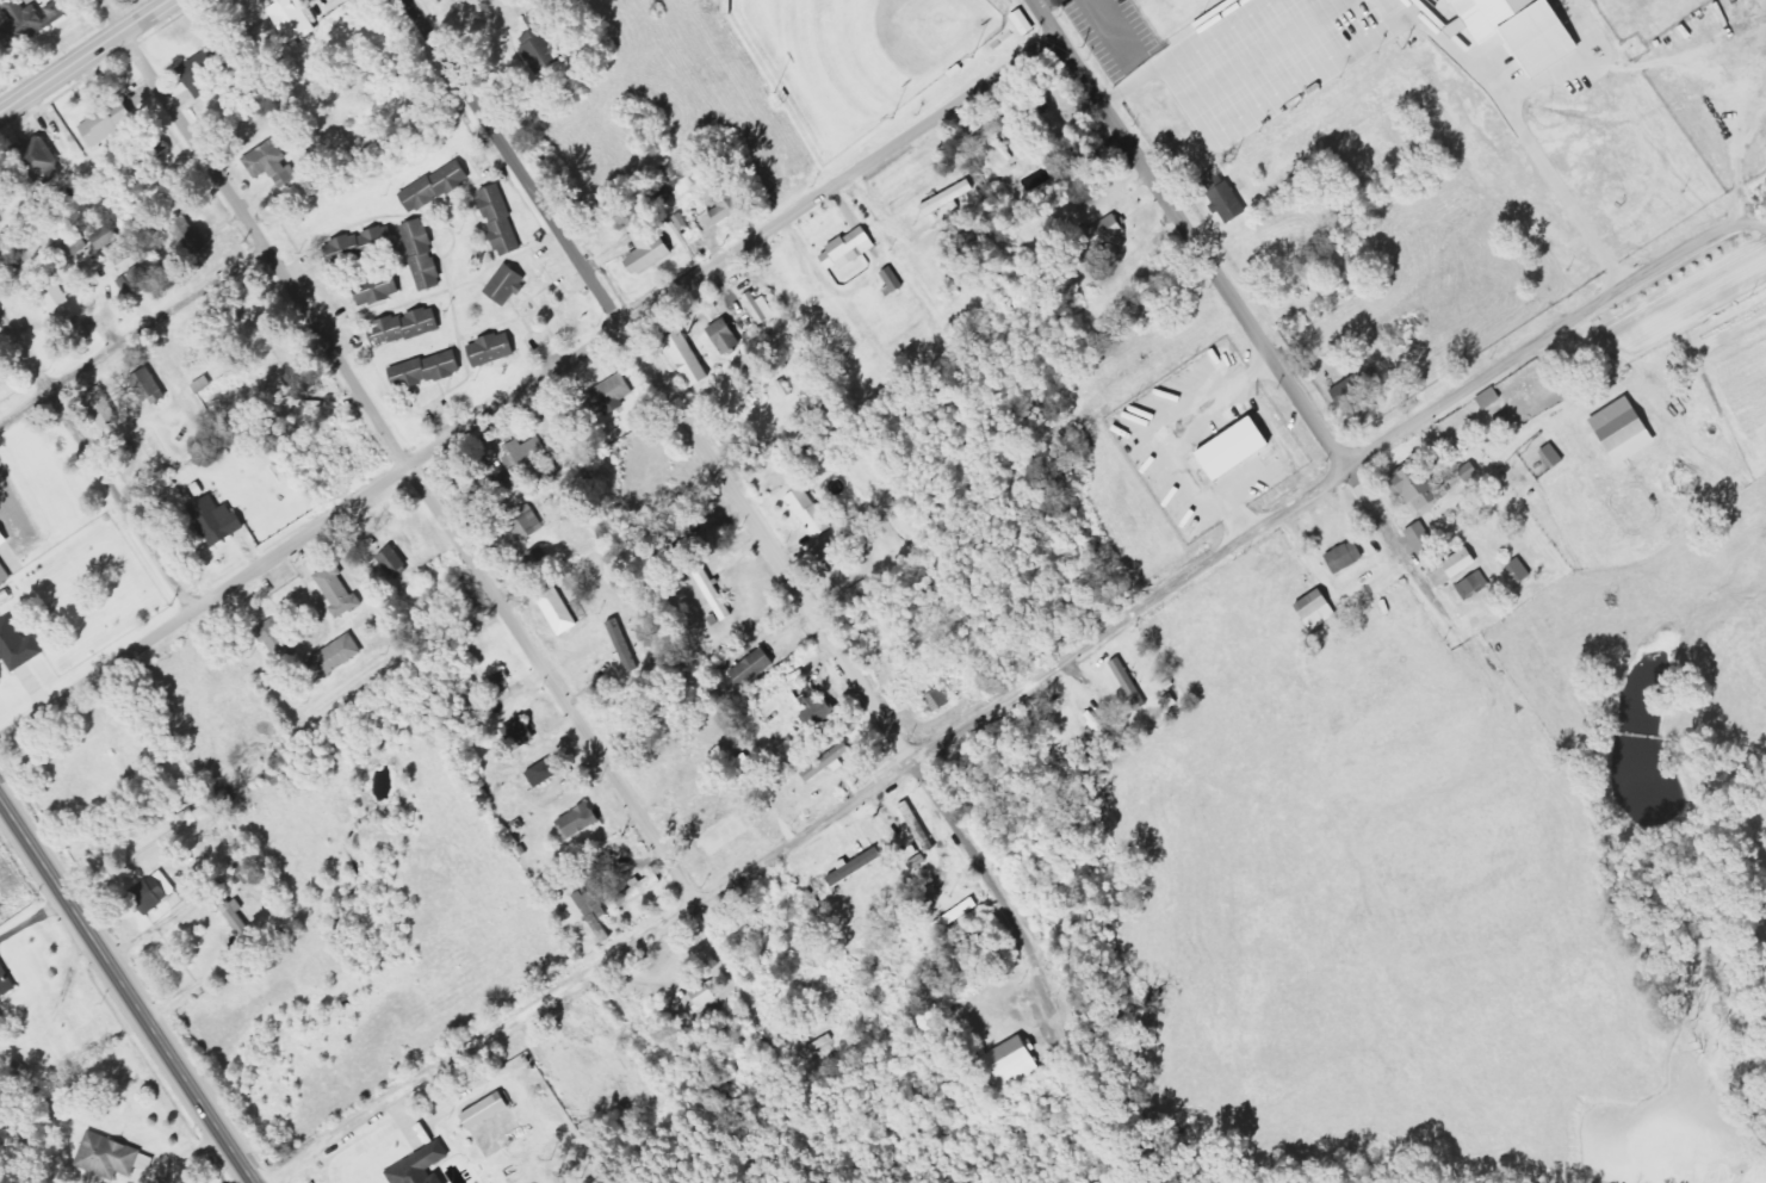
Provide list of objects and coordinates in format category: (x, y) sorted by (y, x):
building: (1426, 0)
road: (1039, 18)
building: (297, 19)
building: (31, 20)
building: (1027, 23)
building: (1462, 29)
building: (1526, 30)
building: (544, 47)
park: (1274, 48)
park: (860, 55)
road: (88, 58)
building: (204, 73)
building: (112, 123)
building: (43, 157)
building: (274, 163)
building: (439, 187)
building: (1227, 196)
building: (950, 198)
building: (730, 203)
building: (503, 221)
building: (1108, 234)
building: (75, 244)
building: (652, 249)
building: (851, 249)
building: (426, 255)
building: (144, 280)
building: (894, 281)
building: (509, 285)
building: (382, 290)
road: (1233, 305)
building: (763, 308)
building: (408, 327)
road: (163, 330)
building: (729, 336)
building: (496, 349)
building: (690, 359)
building: (2, 366)
building: (429, 371)
building: (154, 388)
road: (526, 389)
building: (1356, 391)
building: (611, 398)
building: (1492, 398)
building: (106, 407)
road: (27, 416)
building: (1628, 431)
road: (694, 436)
building: (1239, 450)
road: (396, 456)
road: (97, 460)
building: (1423, 488)
building: (813, 513)
building: (221, 521)
building: (4, 538)
building: (1426, 540)
building: (1349, 557)
building: (396, 562)
building: (1457, 568)
building: (1523, 570)
building: (5, 574)
building: (1476, 586)
building: (340, 590)
building: (1320, 609)
building: (560, 611)
building: (279, 640)
building: (19, 645)
building: (339, 657)
building: (756, 668)
building: (1133, 685)
road: (1017, 690)
building: (818, 706)
building: (523, 732)
building: (830, 762)
building: (546, 773)
building: (582, 822)
building: (860, 865)
building: (643, 888)
building: (157, 891)
building: (599, 915)
building: (960, 915)
building: (238, 916)
building: (6, 979)
road: (125, 992)
building: (704, 996)
building: (603, 1034)
building: (564, 1051)
building: (1015, 1064)
building: (489, 1110)
building: (110, 1157)
building: (425, 1166)

